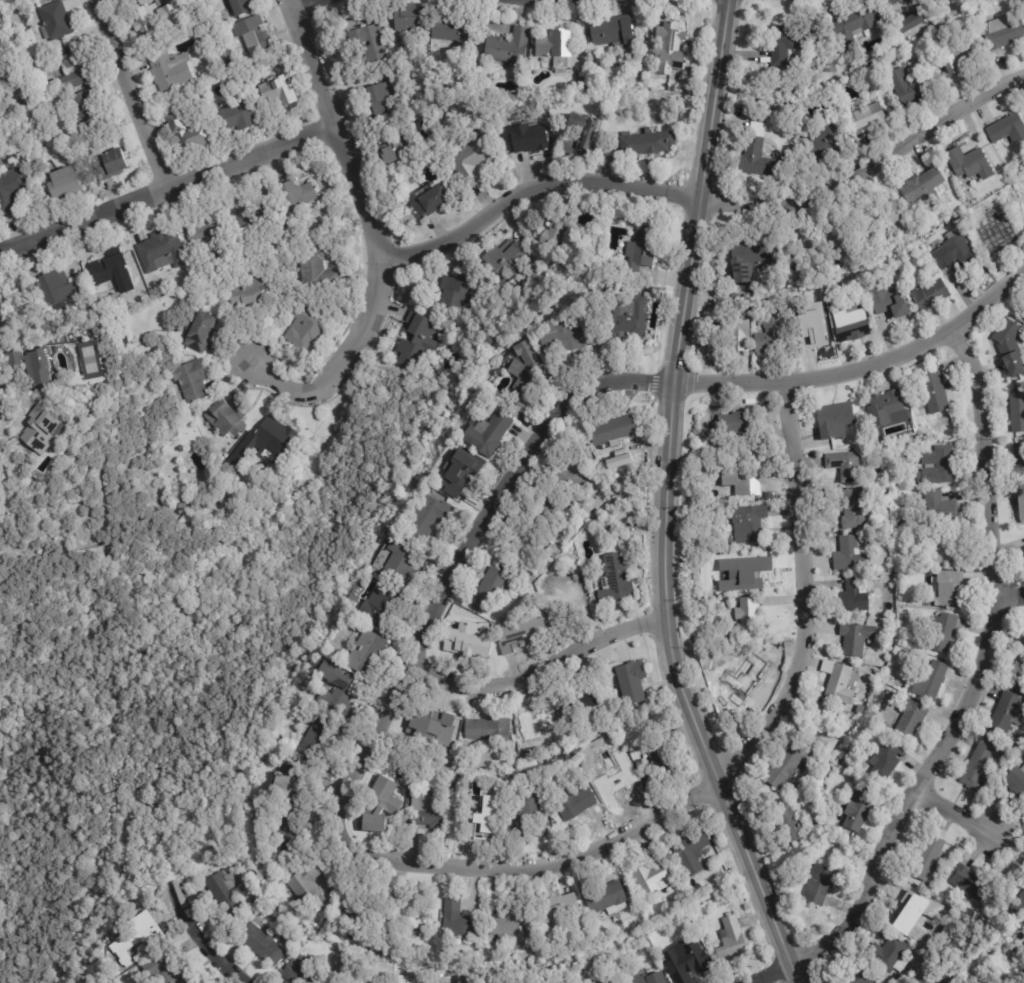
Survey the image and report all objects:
building: (24, 0)
building: (142, 2)
building: (890, 3)
building: (917, 3)
road: (304, 5)
building: (238, 7)
building: (152, 16)
building: (410, 17)
building: (53, 21)
building: (911, 22)
building: (854, 25)
building: (450, 28)
building: (609, 30)
building: (1002, 31)
building: (252, 36)
building: (790, 41)
building: (368, 43)
building: (553, 43)
building: (508, 46)
building: (404, 47)
building: (668, 47)
building: (957, 53)
building: (223, 65)
building: (168, 69)
building: (71, 73)
building: (911, 87)
building: (282, 91)
building: (887, 91)
road: (129, 95)
building: (370, 102)
building: (84, 112)
building: (234, 117)
building: (867, 118)
building: (1006, 129)
building: (187, 134)
building: (587, 135)
building: (530, 139)
building: (826, 141)
building: (647, 143)
building: (390, 155)
building: (758, 155)
building: (470, 162)
building: (969, 163)
building: (112, 164)
building: (61, 182)
building: (923, 187)
building: (11, 188)
road: (167, 190)
building: (293, 195)
building: (428, 199)
road: (708, 200)
building: (1021, 207)
building: (247, 216)
building: (877, 219)
building: (203, 228)
building: (992, 229)
road: (372, 235)
building: (555, 235)
building: (827, 237)
building: (160, 251)
building: (952, 251)
building: (638, 254)
building: (751, 257)
building: (506, 261)
building: (108, 269)
building: (317, 273)
building: (54, 289)
building: (453, 291)
building: (245, 293)
building: (929, 295)
building: (818, 298)
building: (887, 302)
building: (1023, 312)
building: (585, 315)
building: (628, 317)
building: (850, 324)
building: (304, 328)
building: (736, 328)
building: (200, 332)
building: (771, 332)
building: (811, 336)
building: (562, 338)
building: (414, 342)
building: (1008, 344)
building: (122, 345)
building: (33, 365)
building: (524, 375)
building: (191, 381)
building: (1020, 388)
building: (934, 391)
road: (561, 405)
building: (887, 408)
building: (1016, 414)
building: (225, 418)
building: (835, 419)
building: (736, 423)
building: (38, 431)
building: (611, 433)
building: (485, 434)
building: (273, 437)
building: (1019, 460)
building: (937, 464)
building: (844, 465)
building: (458, 472)
building: (573, 477)
building: (744, 480)
building: (917, 493)
building: (1021, 500)
building: (180, 501)
road: (666, 501)
building: (939, 507)
building: (854, 509)
building: (547, 510)
building: (428, 519)
building: (749, 525)
building: (903, 525)
building: (729, 543)
building: (943, 550)
building: (552, 552)
building: (518, 553)
building: (855, 557)
building: (725, 559)
building: (400, 565)
building: (748, 569)
building: (614, 580)
building: (948, 589)
building: (489, 591)
road: (1010, 595)
building: (852, 596)
building: (559, 603)
building: (378, 612)
building: (748, 614)
building: (942, 631)
building: (520, 634)
building: (855, 637)
building: (1021, 639)
building: (467, 644)
building: (365, 651)
building: (1022, 659)
building: (1016, 668)
road: (538, 670)
park: (165, 672)
building: (740, 678)
building: (929, 679)
building: (630, 680)
building: (1023, 680)
building: (840, 684)
road: (971, 689)
building: (336, 690)
building: (582, 701)
building: (1007, 709)
building: (860, 710)
building: (911, 717)
building: (538, 721)
building: (818, 725)
building: (433, 726)
building: (487, 729)
building: (316, 736)
building: (597, 749)
building: (590, 754)
building: (658, 756)
building: (886, 759)
building: (980, 764)
building: (289, 766)
building: (786, 766)
road: (725, 771)
building: (1016, 780)
building: (615, 784)
building: (288, 789)
building: (529, 803)
building: (573, 803)
building: (857, 807)
building: (261, 810)
building: (426, 811)
building: (379, 814)
road: (956, 816)
building: (525, 819)
road: (1011, 821)
building: (479, 823)
building: (790, 824)
building: (288, 828)
building: (837, 839)
building: (690, 851)
building: (660, 852)
building: (929, 856)
building: (651, 878)
building: (306, 884)
building: (819, 884)
building: (970, 884)
building: (925, 887)
building: (224, 893)
building: (511, 894)
building: (604, 897)
building: (257, 900)
building: (723, 903)
building: (1018, 905)
building: (365, 907)
building: (560, 910)
building: (276, 913)
building: (909, 914)
building: (408, 916)
building: (456, 920)
building: (310, 922)
building: (510, 928)
building: (138, 936)
road: (199, 939)
building: (731, 940)
building: (260, 943)
building: (922, 945)
building: (377, 947)
building: (889, 954)
building: (689, 967)
building: (299, 971)
building: (161, 973)
building: (484, 974)
building: (858, 975)
building: (1021, 977)
building: (648, 978)
building: (1002, 979)

